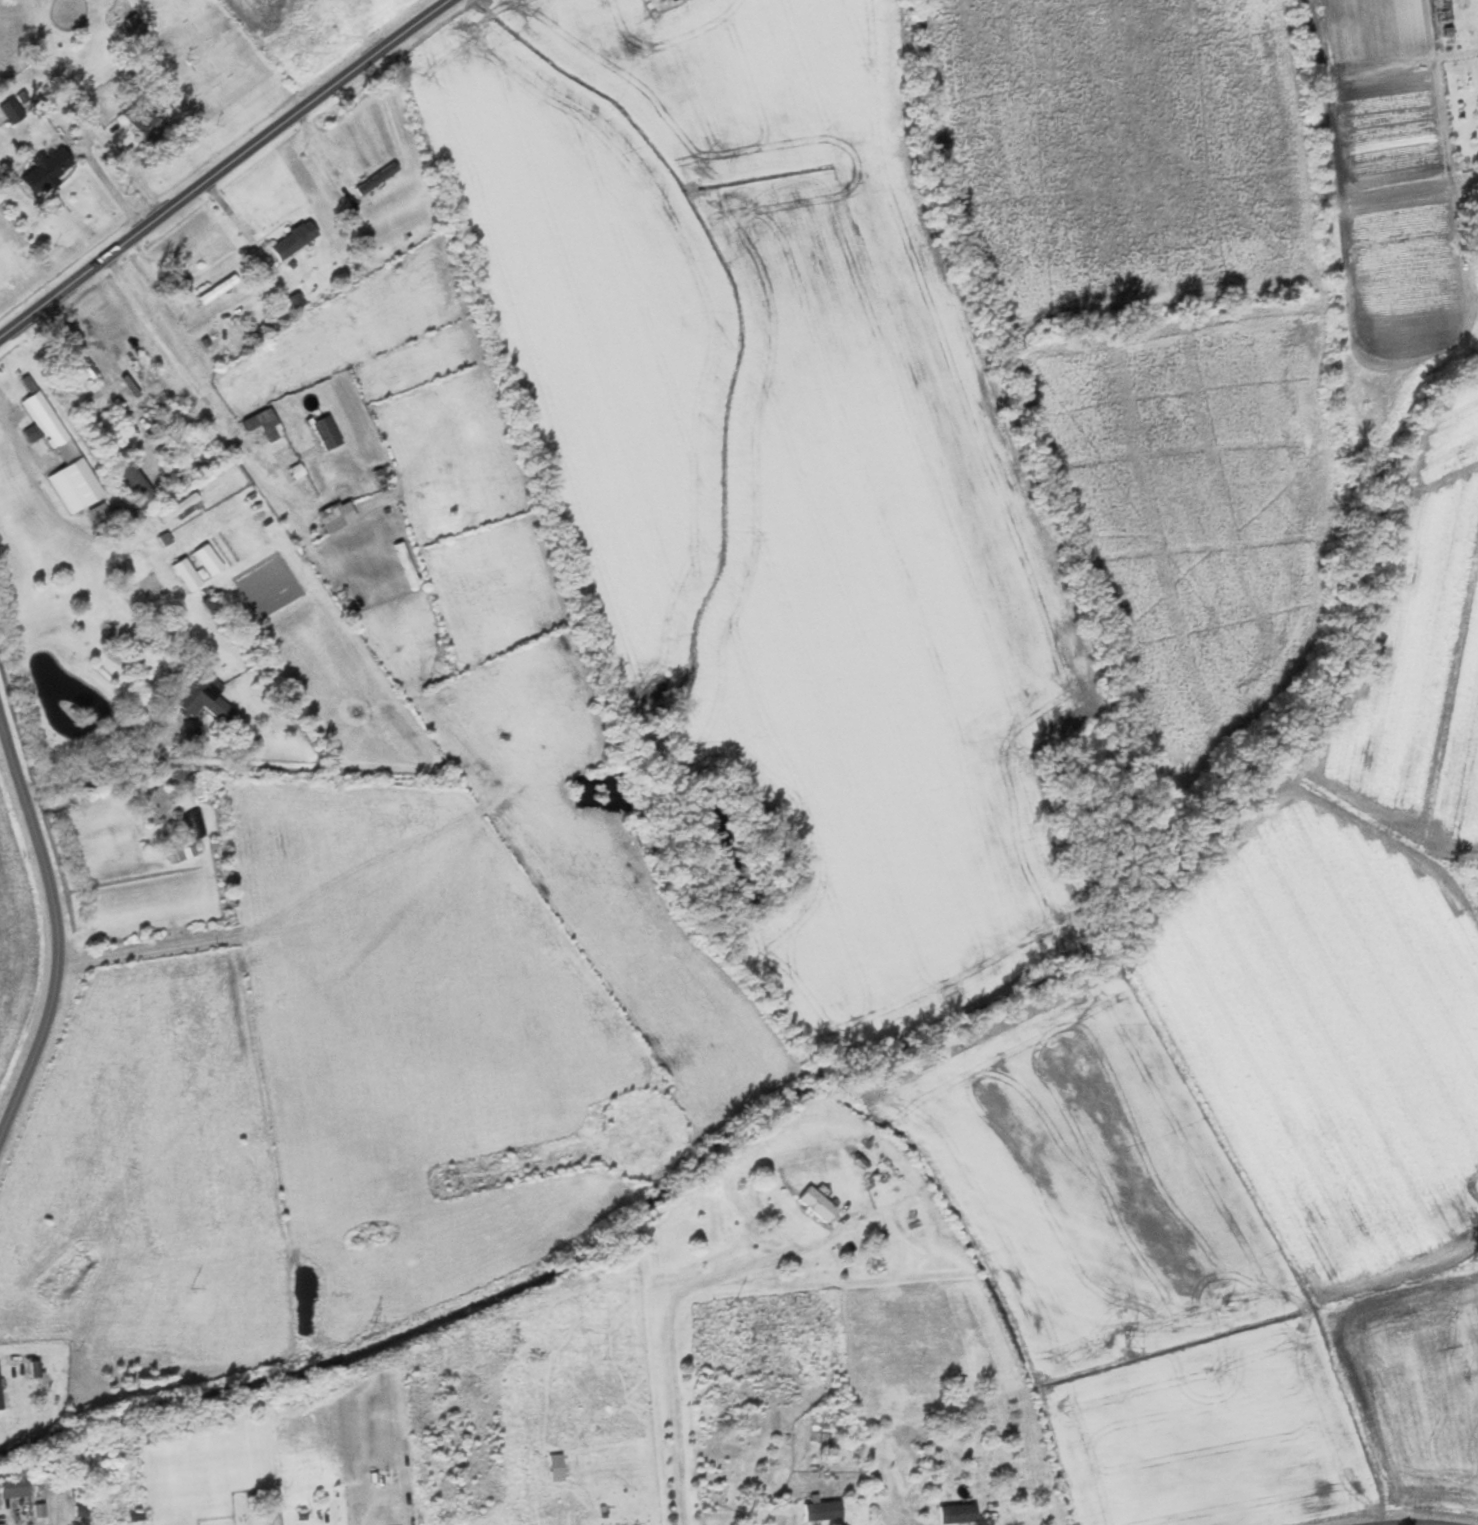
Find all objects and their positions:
building: (16, 111)
road: (84, 113)
building: (147, 123)
road: (226, 168)
building: (48, 171)
building: (378, 178)
building: (295, 240)
building: (128, 378)
building: (266, 424)
building: (328, 433)
building: (62, 454)
building: (134, 484)
building: (101, 515)
building: (341, 521)
building: (210, 560)
building: (188, 574)
building: (204, 695)
building: (193, 731)
building: (195, 825)
building: (185, 851)
road: (56, 926)
building: (596, 1117)
building: (819, 1204)
power tower: (368, 1328)
power tower: (752, 1334)
power tower: (1126, 1342)
building: (31, 1368)
building: (1, 1395)
building: (747, 1420)
building: (820, 1432)
building: (557, 1468)
building: (16, 1487)
building: (824, 1512)
building: (959, 1514)
road: (1419, 1524)

